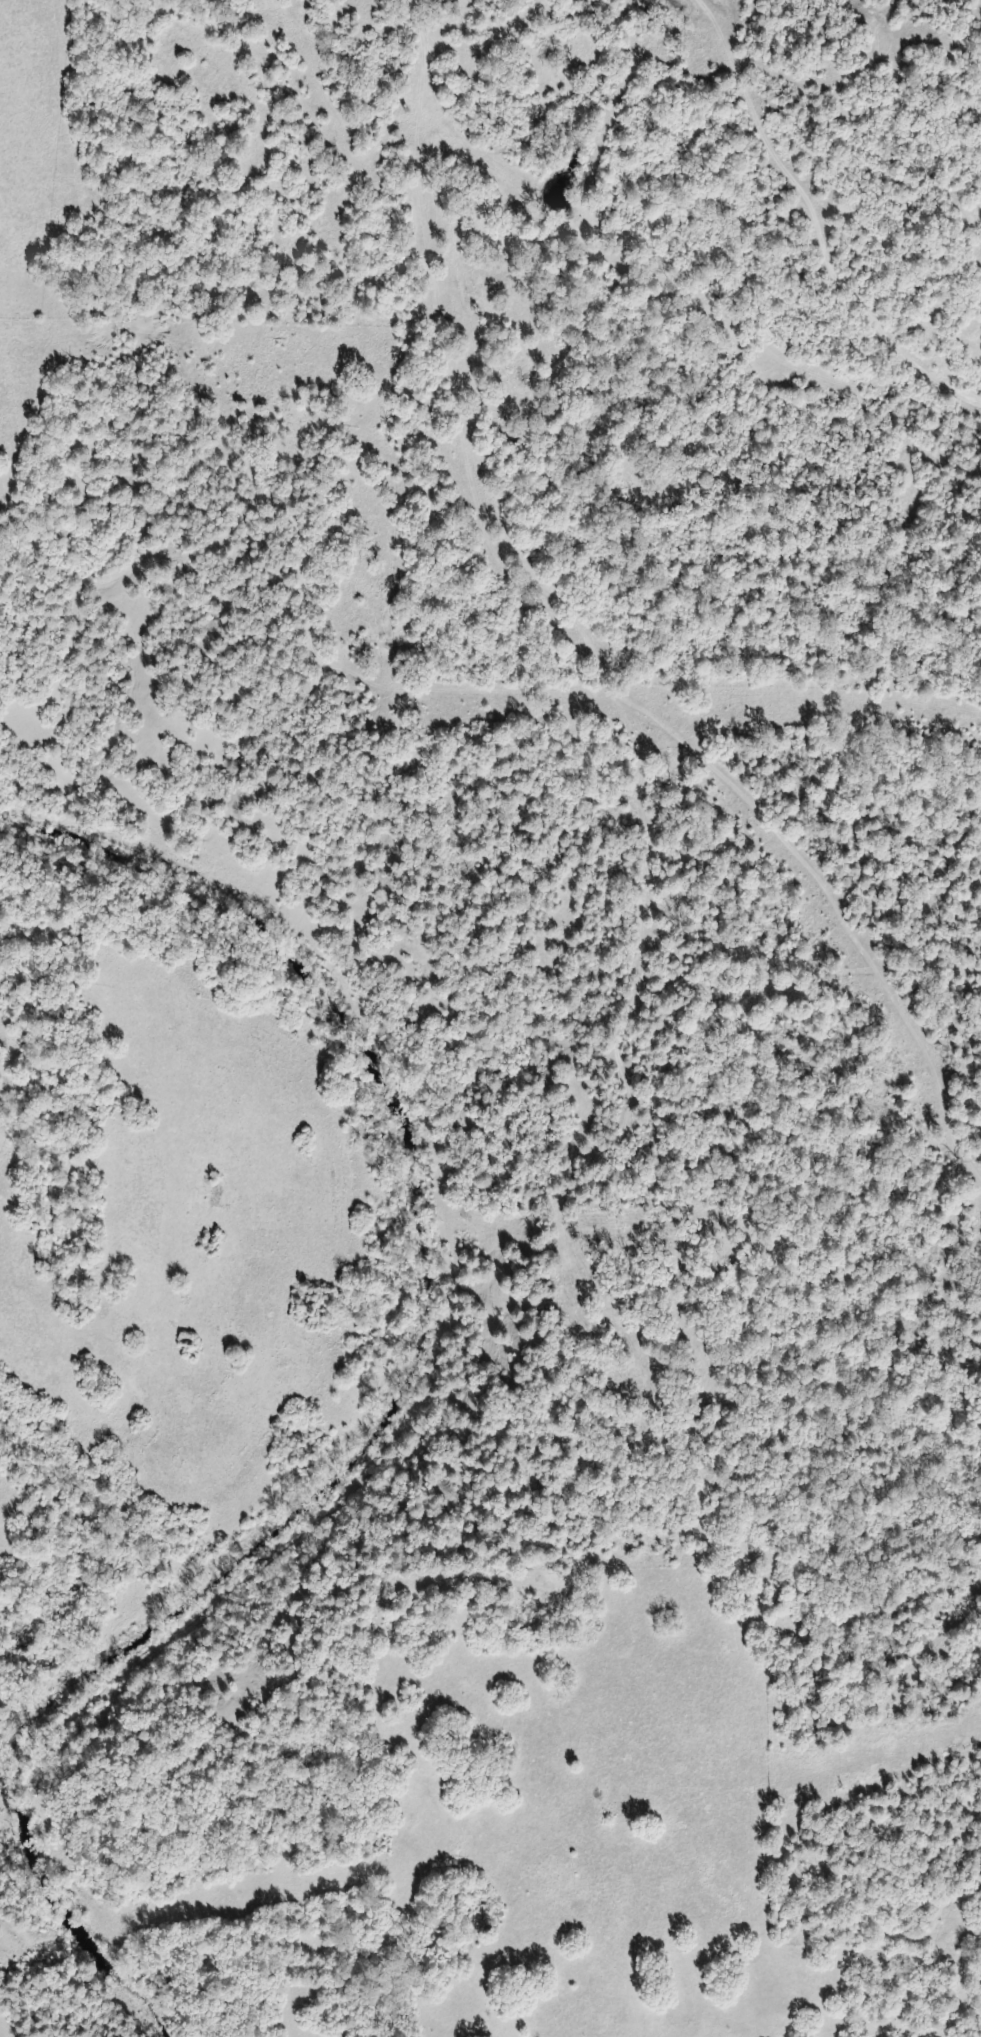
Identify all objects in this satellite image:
road: (813, 217)

